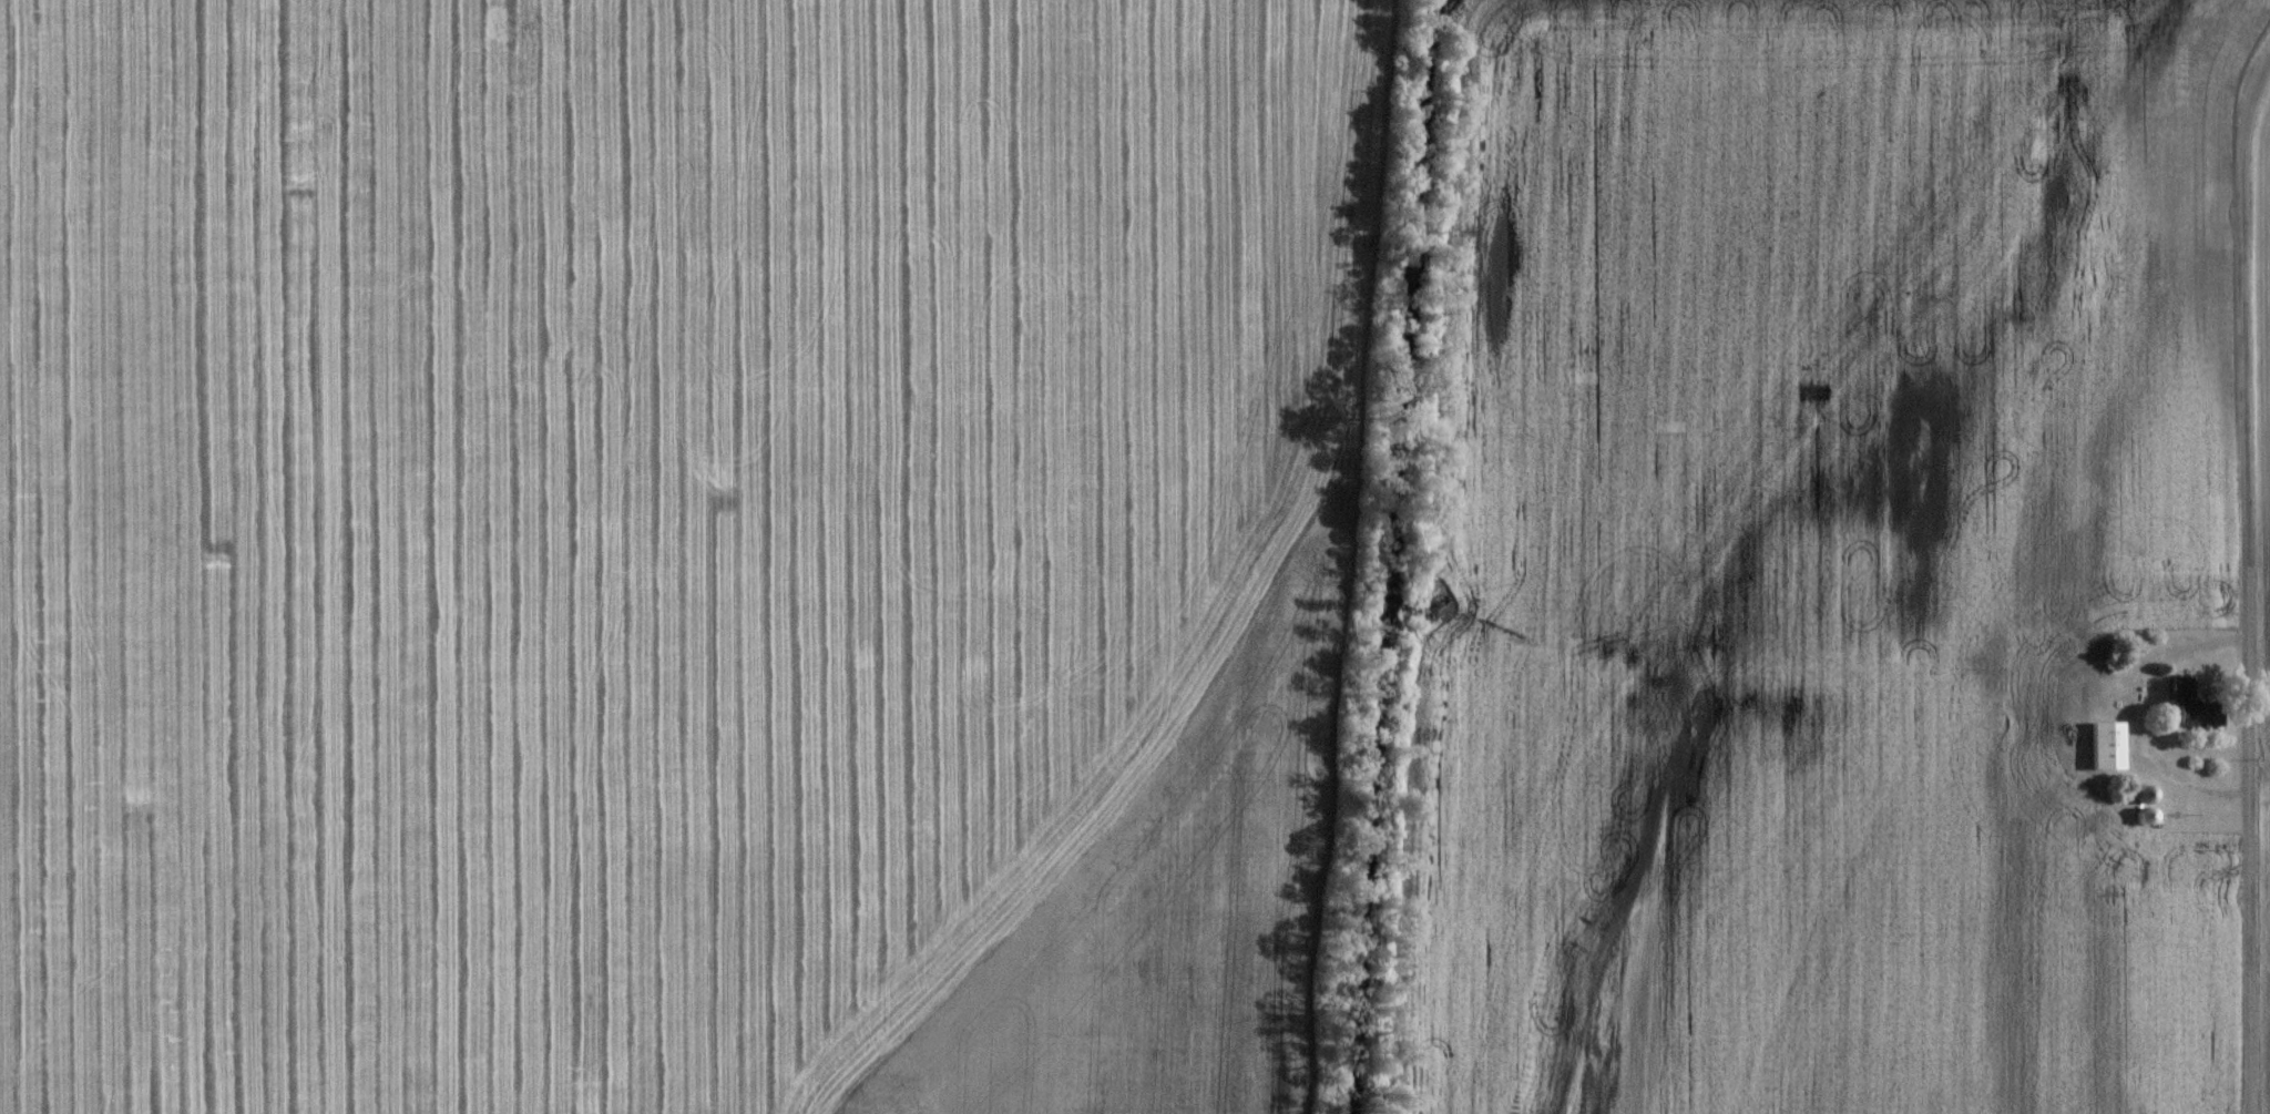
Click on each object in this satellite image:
road: (2248, 590)
building: (2189, 714)
building: (2105, 755)
building: (2143, 804)

